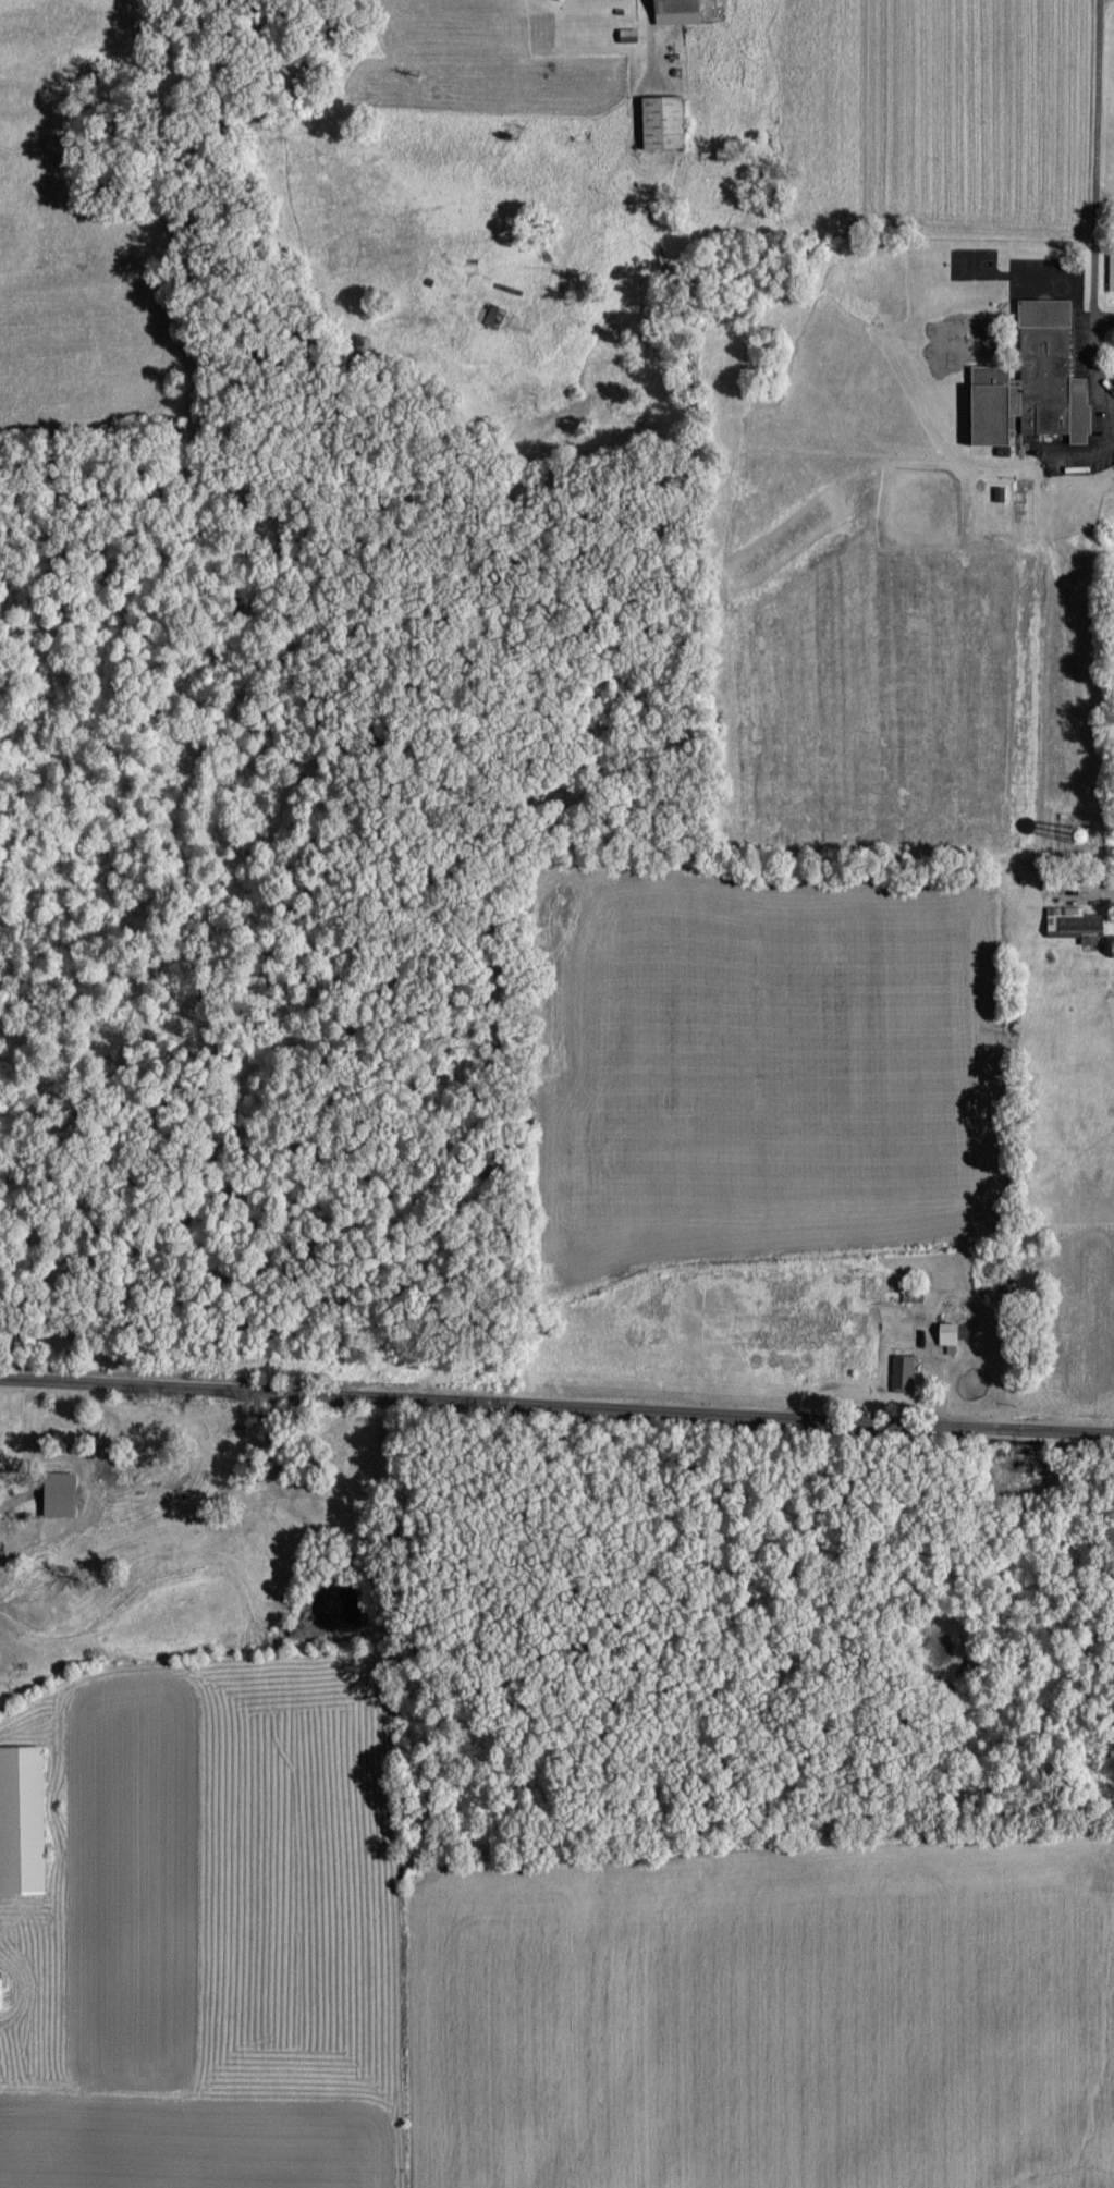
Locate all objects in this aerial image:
building: (678, 12)
building: (629, 37)
road: (1098, 90)
building: (665, 125)
road: (1102, 190)
building: (1112, 268)
road: (1093, 297)
building: (1035, 383)
building: (1076, 924)
building: (950, 1337)
building: (903, 1374)
road: (556, 1402)
building: (60, 1506)
building: (23, 1823)
building: (1, 1996)

